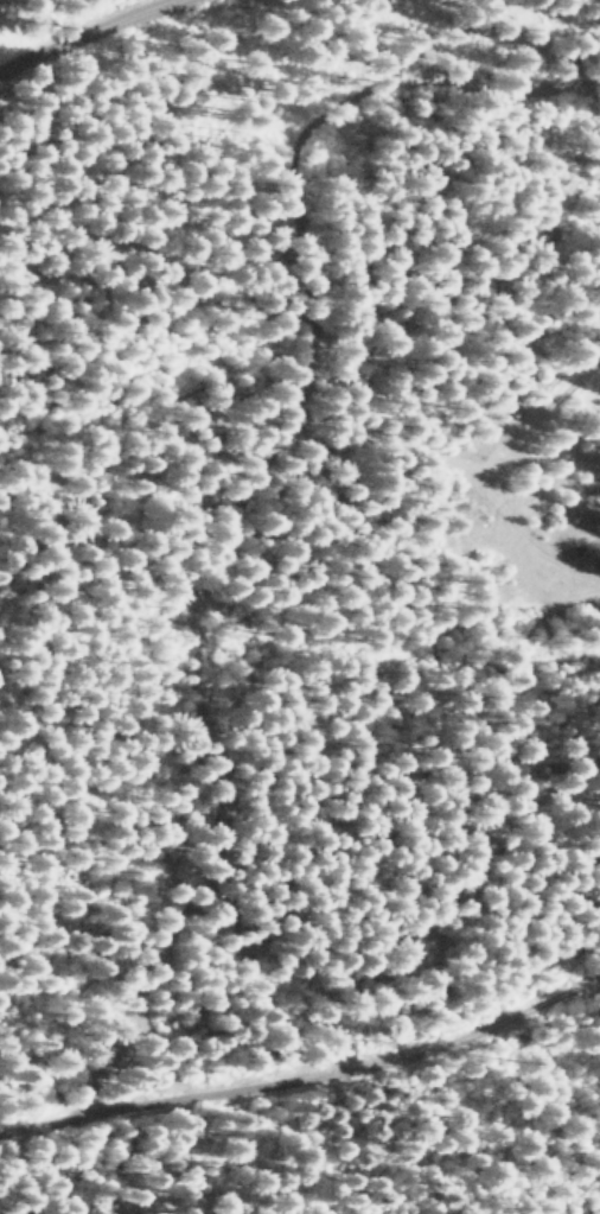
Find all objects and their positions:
road: (84, 36)
road: (249, 489)
road: (306, 1078)

